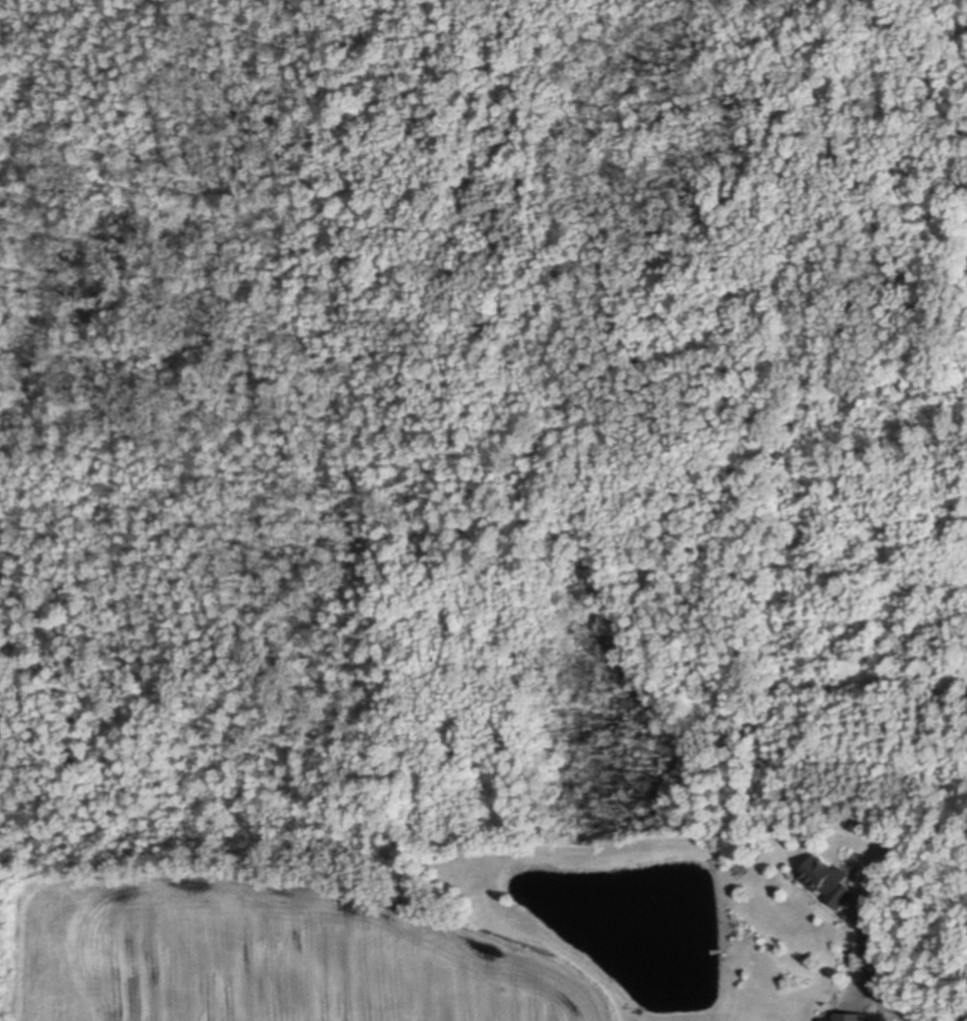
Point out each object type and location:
building: (826, 879)
road: (869, 989)
building: (848, 1015)
road: (958, 1018)

